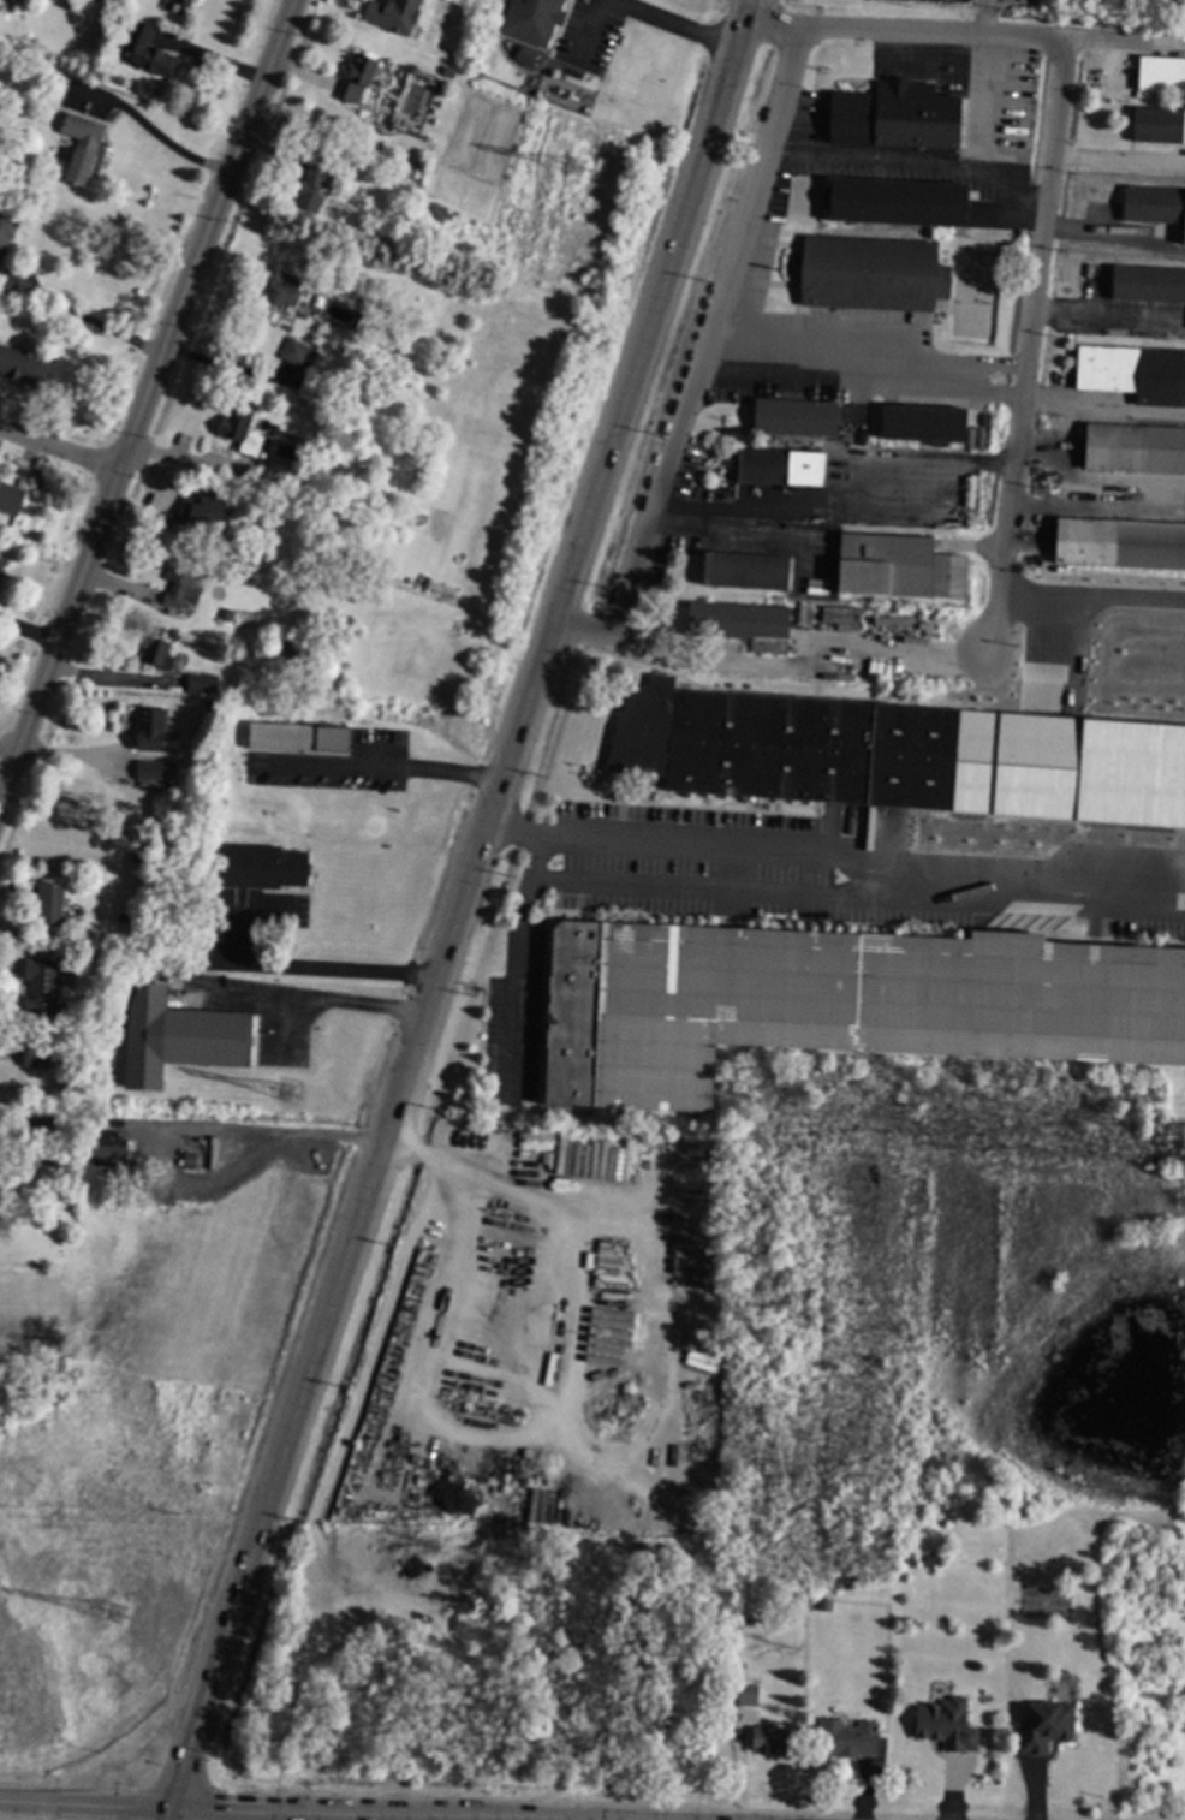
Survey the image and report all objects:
building: (183, 1)
building: (389, 13)
road: (639, 16)
building: (530, 19)
building: (120, 25)
road: (900, 32)
road: (1107, 40)
building: (148, 50)
building: (446, 70)
building: (1160, 73)
building: (356, 78)
building: (1092, 82)
building: (894, 115)
building: (1157, 124)
road: (151, 135)
building: (79, 145)
road: (1114, 162)
road: (899, 163)
power tower: (578, 171)
building: (310, 188)
building: (894, 201)
building: (1154, 204)
building: (6, 227)
building: (871, 273)
building: (1147, 284)
building: (281, 287)
building: (2, 290)
building: (300, 304)
road: (83, 320)
road: (829, 337)
road: (1020, 349)
building: (293, 351)
road: (692, 355)
road: (226, 365)
building: (22, 367)
road: (949, 370)
building: (1133, 373)
road: (820, 374)
road: (147, 397)
road: (1098, 409)
building: (794, 416)
building: (922, 422)
building: (240, 432)
building: (1133, 448)
road: (59, 452)
building: (780, 466)
building: (10, 498)
road: (833, 502)
building: (201, 508)
building: (1119, 542)
building: (0, 566)
building: (898, 566)
building: (745, 569)
building: (180, 582)
road: (1088, 589)
power tower: (449, 597)
building: (222, 614)
building: (804, 614)
building: (739, 623)
building: (291, 652)
building: (156, 653)
road: (794, 662)
building: (201, 683)
building: (149, 727)
building: (297, 737)
building: (828, 767)
road: (387, 768)
building: (150, 769)
building: (1136, 841)
road: (852, 857)
building: (256, 866)
road: (707, 893)
building: (50, 905)
road: (460, 905)
building: (120, 916)
road: (514, 969)
road: (318, 970)
building: (40, 986)
road: (231, 1003)
building: (836, 1003)
road: (323, 1004)
building: (177, 1036)
building: (34, 1057)
building: (106, 1061)
power tower: (287, 1095)
building: (16, 1130)
road: (273, 1134)
building: (105, 1146)
building: (190, 1160)
road: (589, 1449)
building: (927, 1559)
power tower: (118, 1616)
building: (745, 1694)
building: (943, 1724)
building: (1042, 1727)
building: (845, 1737)
building: (766, 1738)
road: (83, 1806)
road: (399, 1813)
road: (163, 1814)
road: (437, 1816)
road: (577, 1819)

